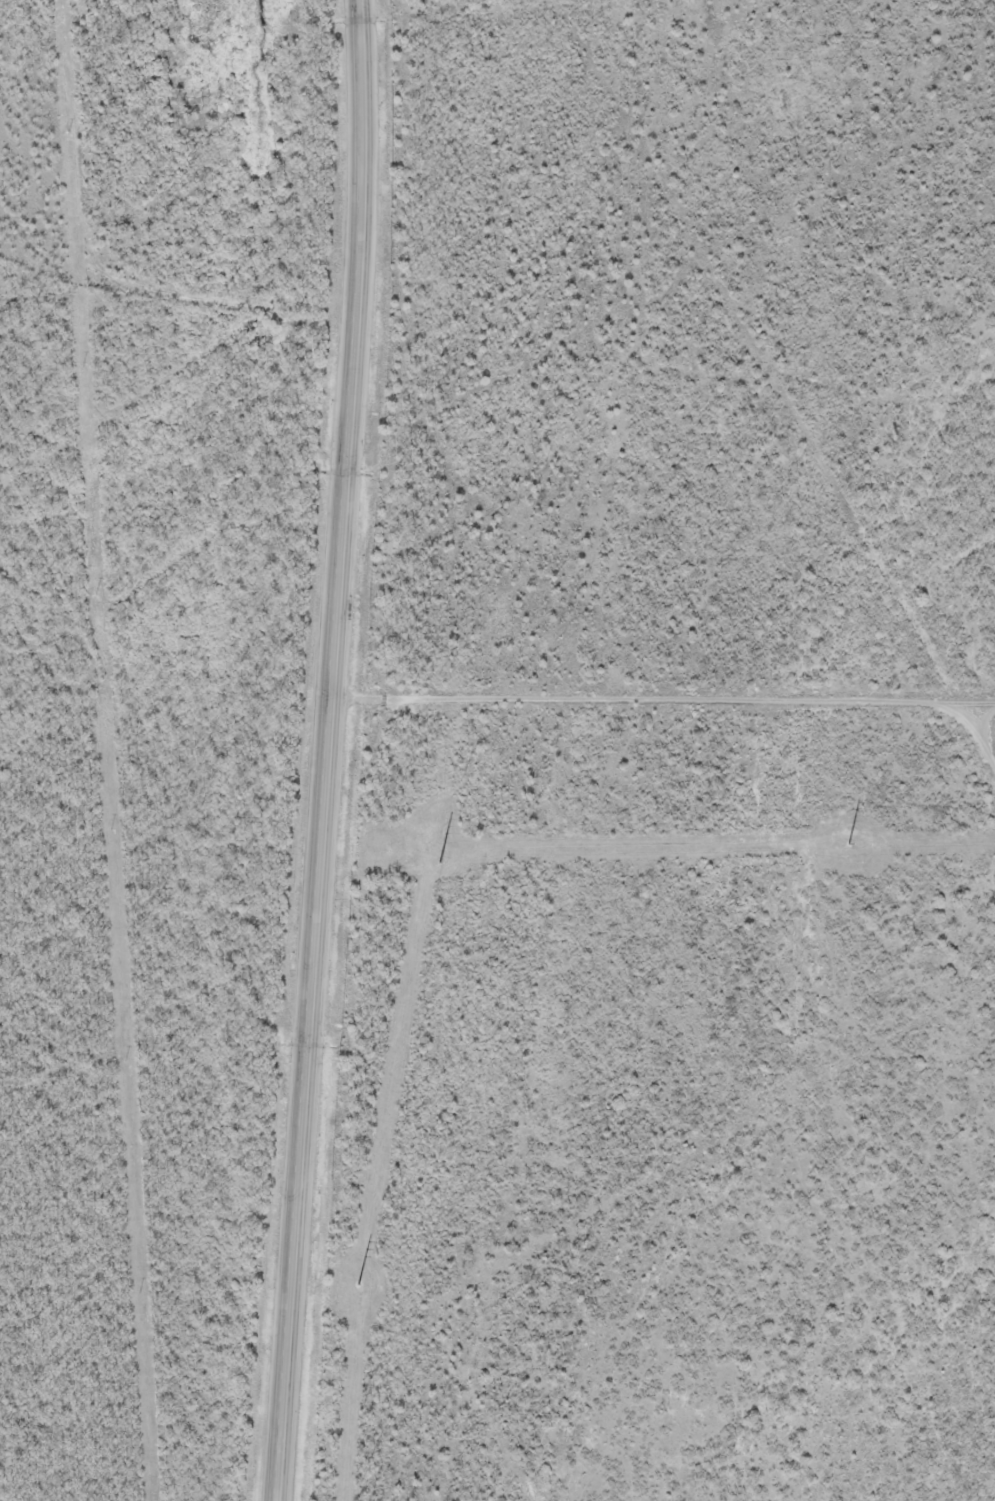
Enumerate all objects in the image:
road: (110, 243)
road: (331, 750)
power tower: (851, 843)
power tower: (442, 863)
power tower: (359, 1285)

